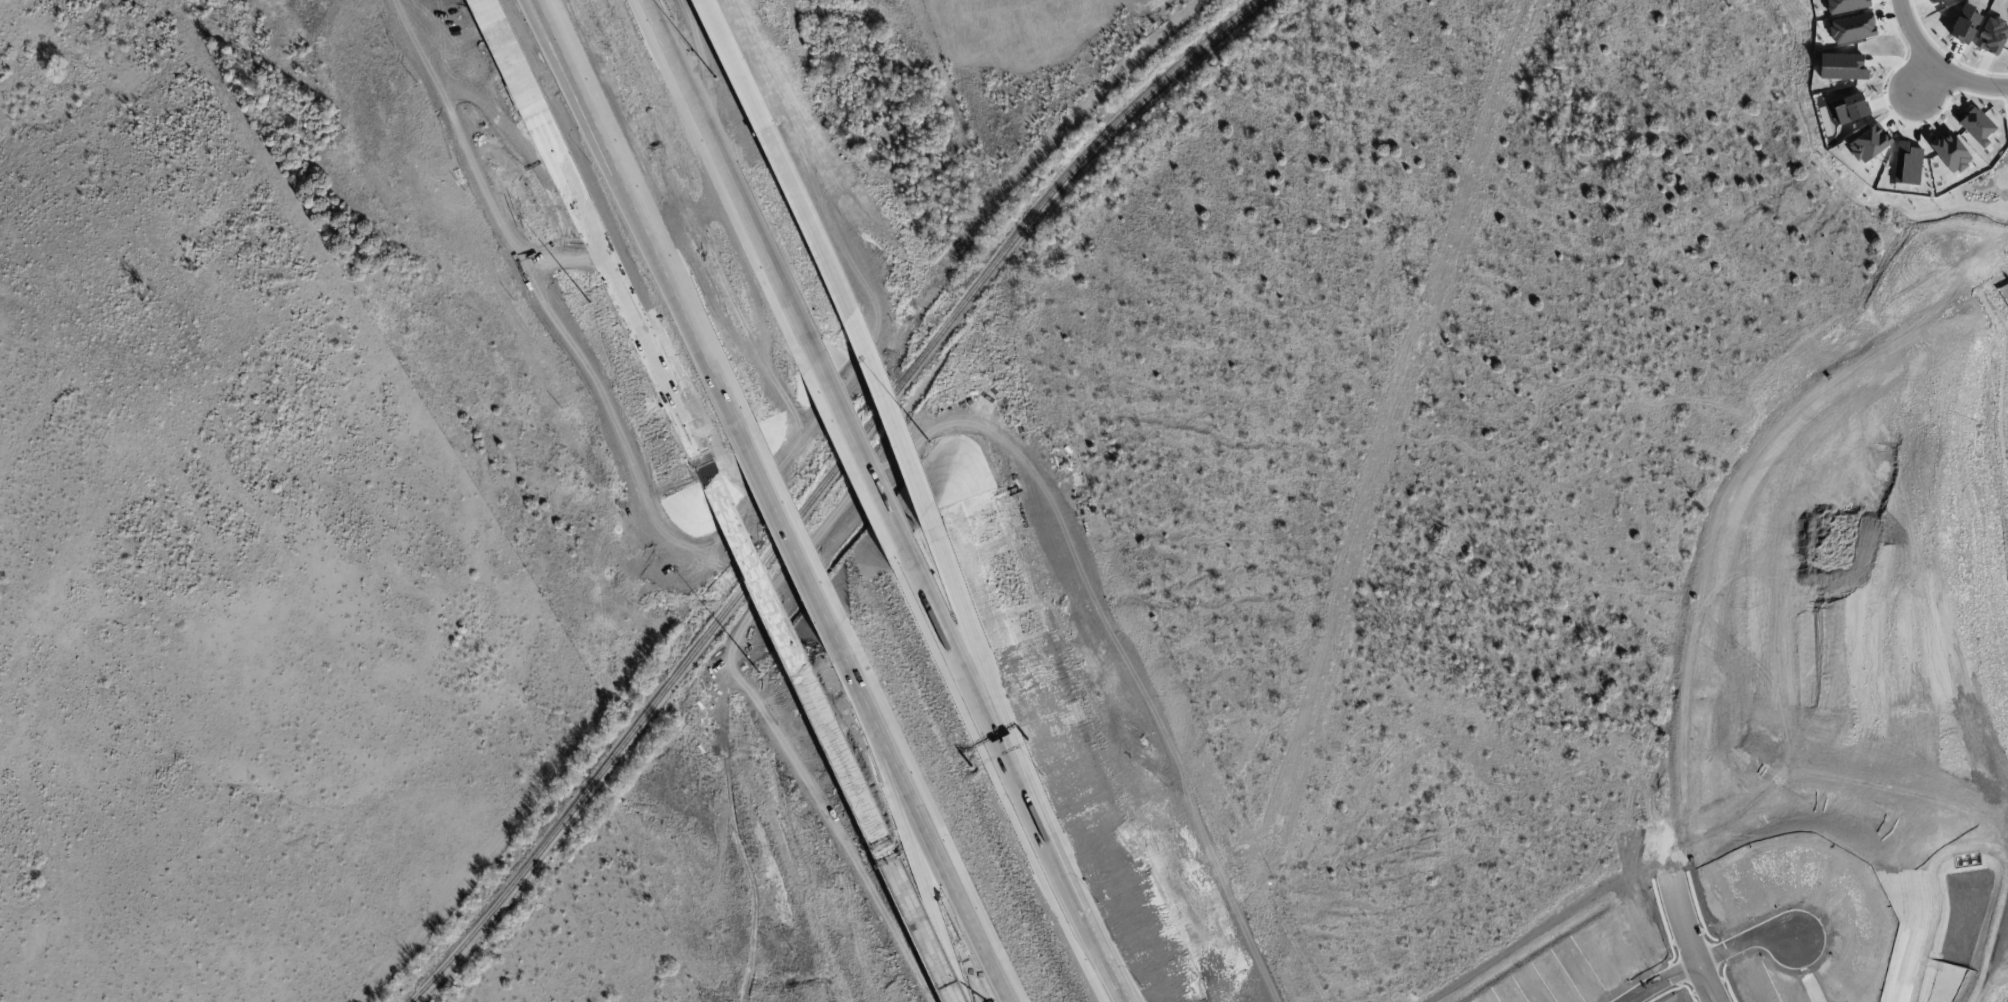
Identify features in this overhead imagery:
road: (540, 15)
road: (498, 38)
road: (1935, 64)
road: (1924, 78)
road: (769, 144)
road: (729, 174)
road: (638, 212)
road: (613, 273)
building: (137, 292)
road: (885, 405)
road: (864, 450)
railway: (823, 488)
road: (792, 536)
road: (1693, 562)
road: (761, 578)
road: (974, 645)
road: (963, 660)
road: (856, 678)
road: (882, 844)
road: (942, 855)
road: (914, 856)
road: (1067, 887)
road: (1711, 963)

